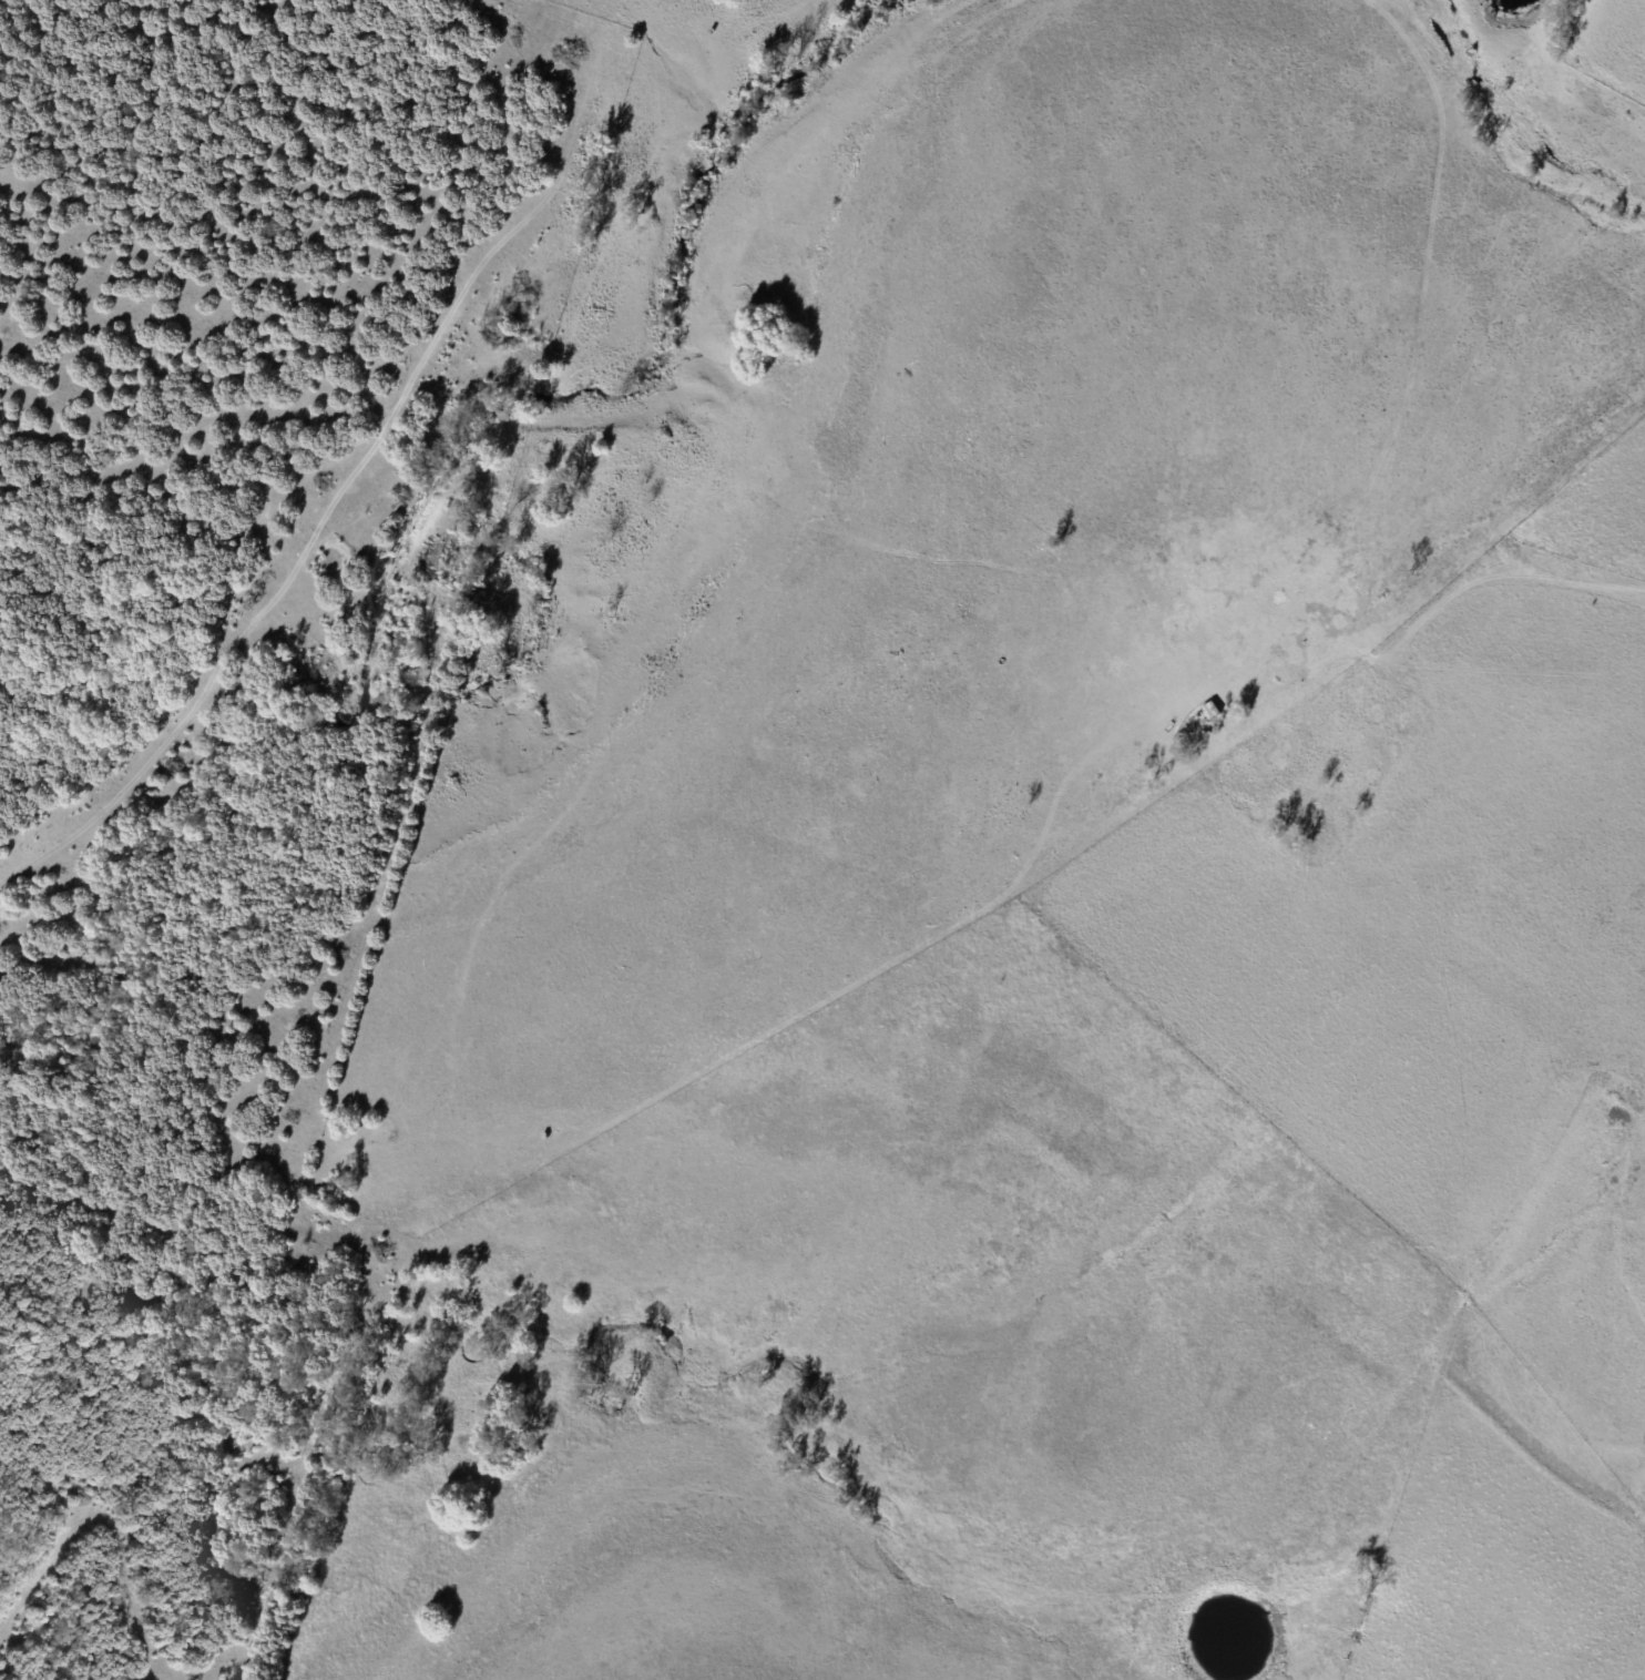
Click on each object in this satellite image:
building: (1209, 710)
building: (1278, 749)

